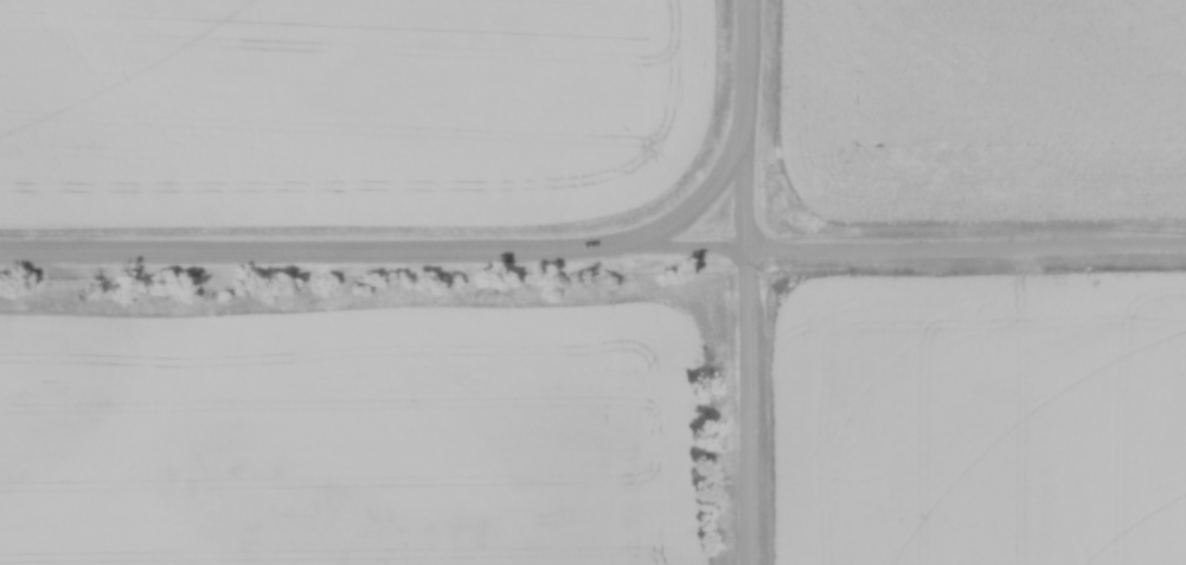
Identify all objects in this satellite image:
road: (706, 203)
road: (592, 251)
road: (746, 282)

